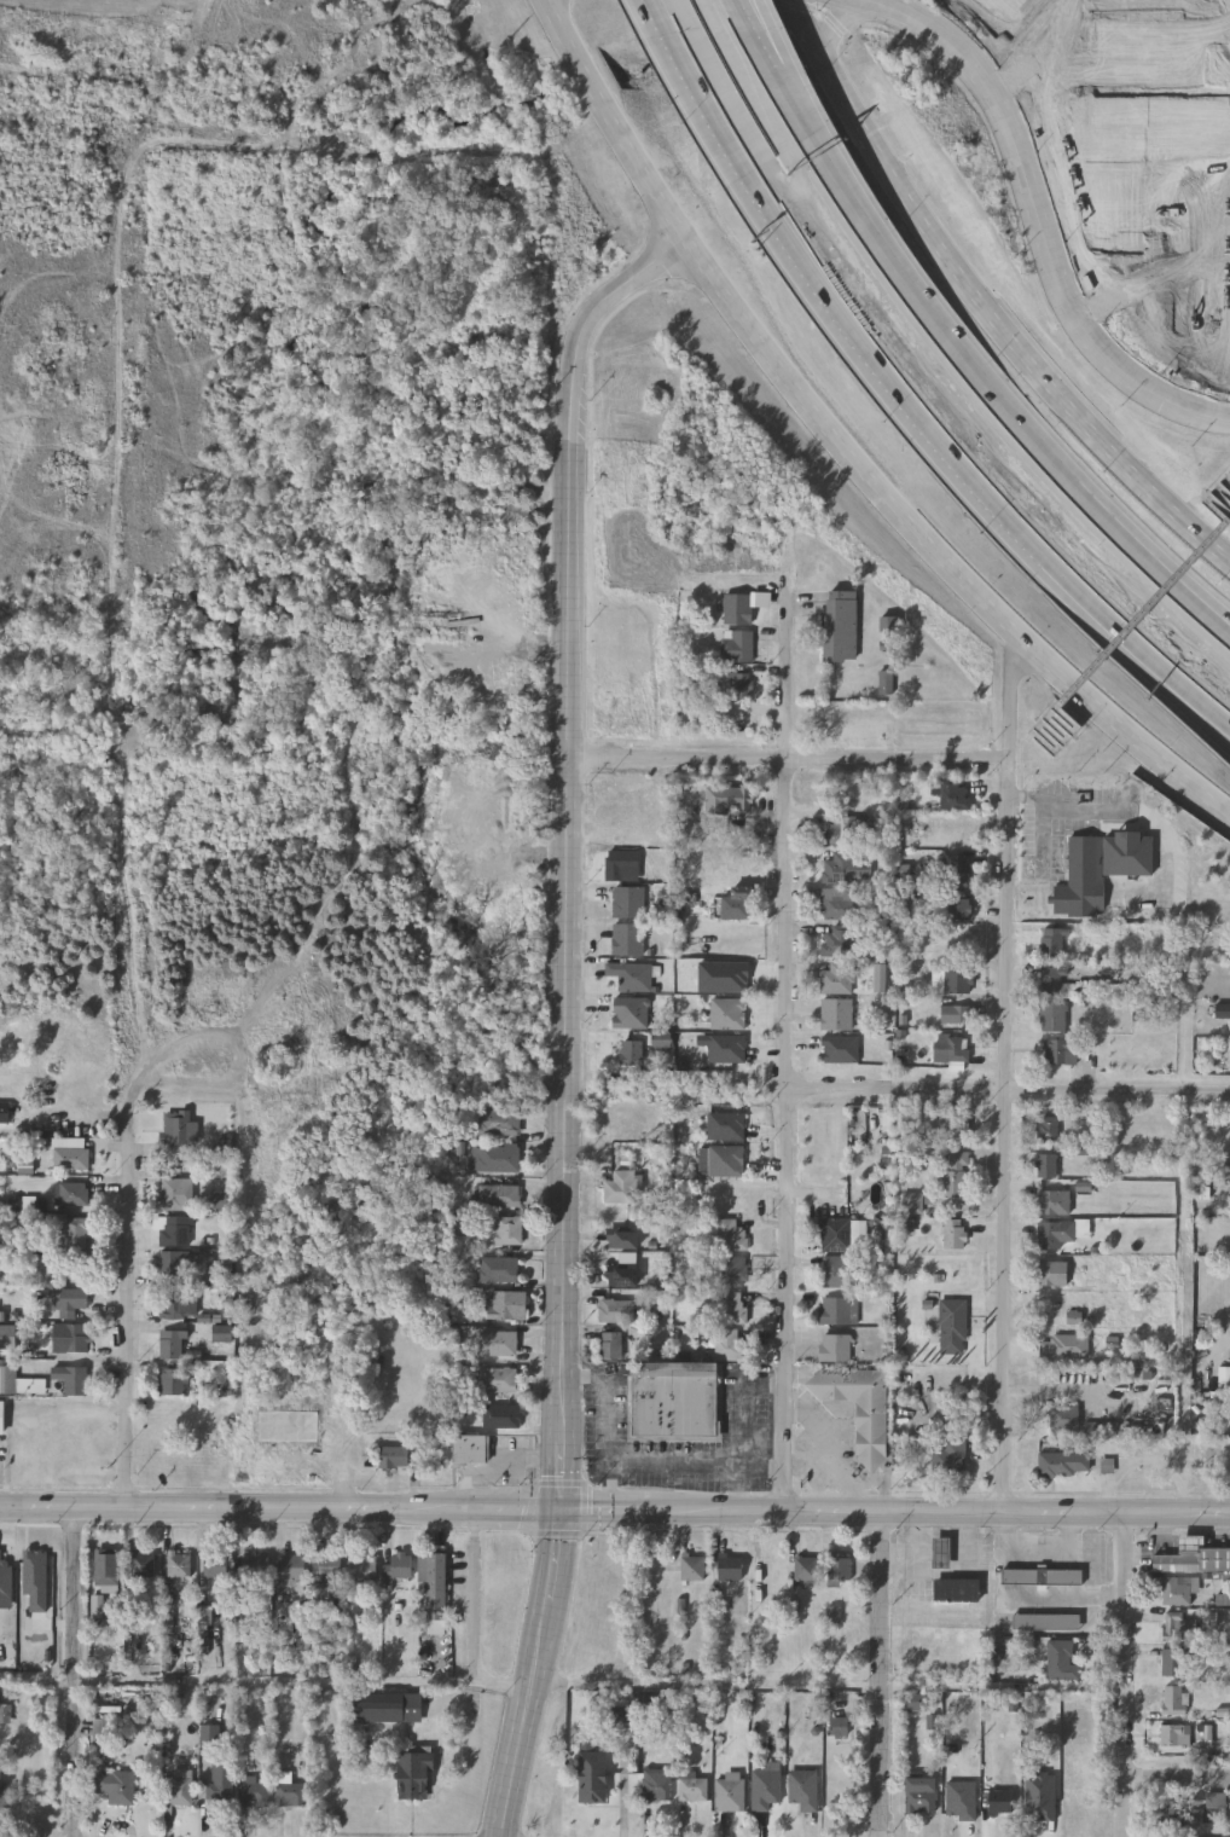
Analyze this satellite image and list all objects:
road: (762, 13)
road: (559, 15)
road: (847, 17)
road: (770, 41)
road: (774, 41)
road: (707, 87)
road: (805, 109)
road: (1044, 218)
building: (1148, 291)
road: (985, 301)
road: (930, 306)
road: (884, 377)
road: (840, 447)
road: (565, 473)
road: (1226, 482)
road: (1216, 492)
road: (1207, 499)
road: (1133, 546)
building: (736, 609)
road: (1139, 615)
road: (1223, 625)
building: (840, 626)
road: (1223, 627)
road: (1135, 642)
building: (736, 647)
road: (1130, 659)
building: (736, 686)
building: (840, 720)
road: (1051, 735)
road: (788, 760)
building: (951, 796)
road: (1073, 796)
building: (727, 799)
building: (843, 829)
building: (620, 863)
building: (956, 865)
building: (845, 869)
building: (1081, 880)
building: (626, 903)
building: (837, 903)
building: (958, 904)
building: (732, 905)
building: (626, 939)
building: (836, 941)
building: (1050, 941)
building: (628, 975)
building: (837, 979)
building: (951, 980)
building: (1050, 980)
building: (629, 1013)
building: (727, 1014)
building: (836, 1014)
building: (955, 1015)
building: (1051, 1015)
road: (785, 1047)
building: (725, 1049)
building: (840, 1049)
building: (951, 1049)
building: (1056, 1050)
road: (1009, 1076)
road: (1009, 1090)
building: (500, 1123)
building: (953, 1123)
building: (725, 1125)
building: (1046, 1129)
building: (176, 1132)
building: (499, 1159)
building: (71, 1160)
building: (725, 1161)
building: (1045, 1165)
building: (955, 1175)
building: (619, 1188)
building: (74, 1194)
building: (178, 1194)
building: (500, 1196)
building: (1051, 1201)
building: (72, 1230)
building: (501, 1230)
building: (175, 1232)
building: (953, 1233)
building: (1054, 1233)
building: (834, 1234)
building: (730, 1235)
building: (622, 1239)
building: (173, 1265)
building: (499, 1270)
building: (732, 1271)
building: (834, 1271)
building: (1051, 1273)
building: (620, 1275)
road: (563, 1299)
building: (71, 1302)
building: (179, 1304)
building: (509, 1305)
building: (730, 1308)
building: (614, 1310)
building: (836, 1311)
road: (128, 1320)
building: (951, 1327)
building: (7, 1335)
building: (70, 1339)
building: (499, 1344)
building: (730, 1344)
building: (173, 1345)
building: (609, 1346)
building: (834, 1348)
building: (71, 1379)
building: (498, 1381)
building: (18, 1383)
building: (172, 1383)
building: (673, 1401)
building: (858, 1407)
building: (1, 1416)
building: (503, 1416)
building: (1058, 1419)
building: (471, 1449)
road: (832, 1450)
building: (393, 1459)
building: (944, 1459)
road: (675, 1464)
building: (1058, 1464)
road: (614, 1511)
traffic signals: (562, 1512)
building: (940, 1552)
building: (1193, 1558)
building: (105, 1564)
building: (179, 1564)
building: (216, 1564)
building: (143, 1565)
building: (256, 1565)
building: (399, 1565)
building: (290, 1566)
building: (325, 1566)
building: (362, 1567)
building: (691, 1567)
building: (729, 1569)
building: (806, 1570)
building: (840, 1570)
road: (953, 1572)
building: (1040, 1577)
building: (433, 1588)
building: (958, 1590)
building: (1177, 1590)
building: (1044, 1621)
road: (475, 1623)
building: (1180, 1626)
building: (1061, 1661)
building: (1173, 1662)
road: (72, 1671)
road: (883, 1673)
road: (1124, 1675)
road: (36, 1680)
road: (274, 1682)
road: (708, 1684)
building: (1174, 1698)
building: (918, 1702)
building: (388, 1708)
building: (5, 1714)
building: (101, 1732)
building: (1174, 1735)
building: (413, 1775)
building: (591, 1778)
building: (220, 1783)
road: (1177, 1784)
building: (655, 1785)
building: (1, 1787)
building: (121, 1787)
building: (692, 1787)
building: (179, 1789)
building: (764, 1790)
building: (802, 1790)
building: (1083, 1790)
building: (289, 1791)
building: (253, 1792)
building: (729, 1793)
building: (919, 1796)
building: (999, 1812)
building: (1174, 1819)

